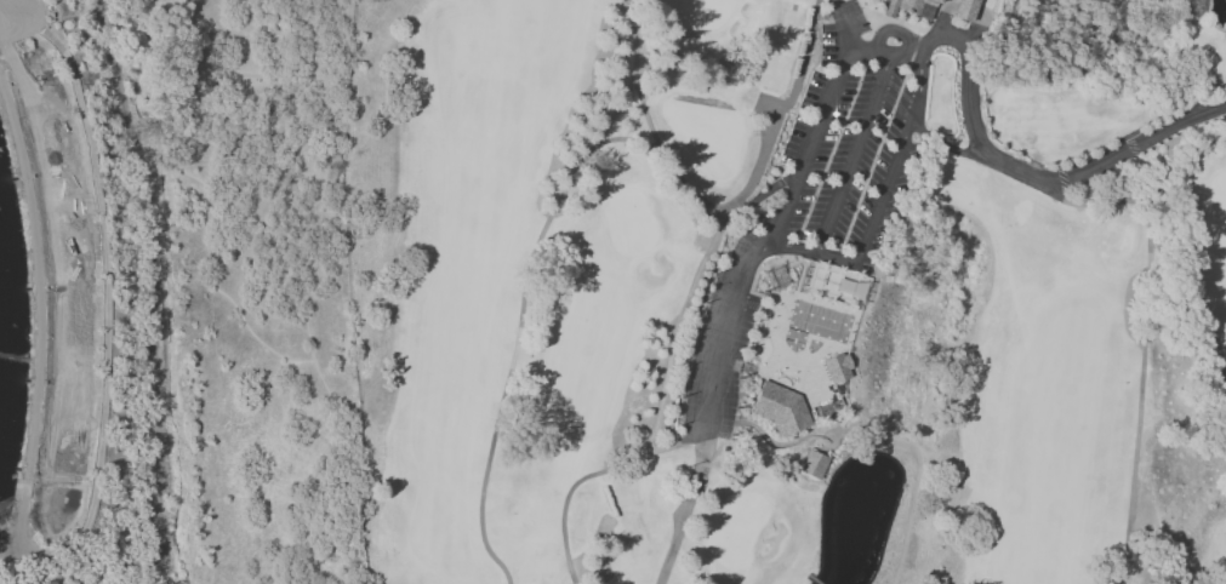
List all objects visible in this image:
building: (911, 7)
building: (963, 8)
road: (840, 24)
park: (267, 79)
road: (122, 86)
road: (194, 87)
parking lot: (845, 156)
road: (997, 156)
road: (802, 162)
road: (167, 167)
road: (152, 171)
parking lot: (816, 199)
road: (840, 259)
park: (793, 292)
road: (39, 305)
road: (722, 320)
building: (836, 366)
road: (153, 378)
building: (780, 407)
building: (812, 464)

